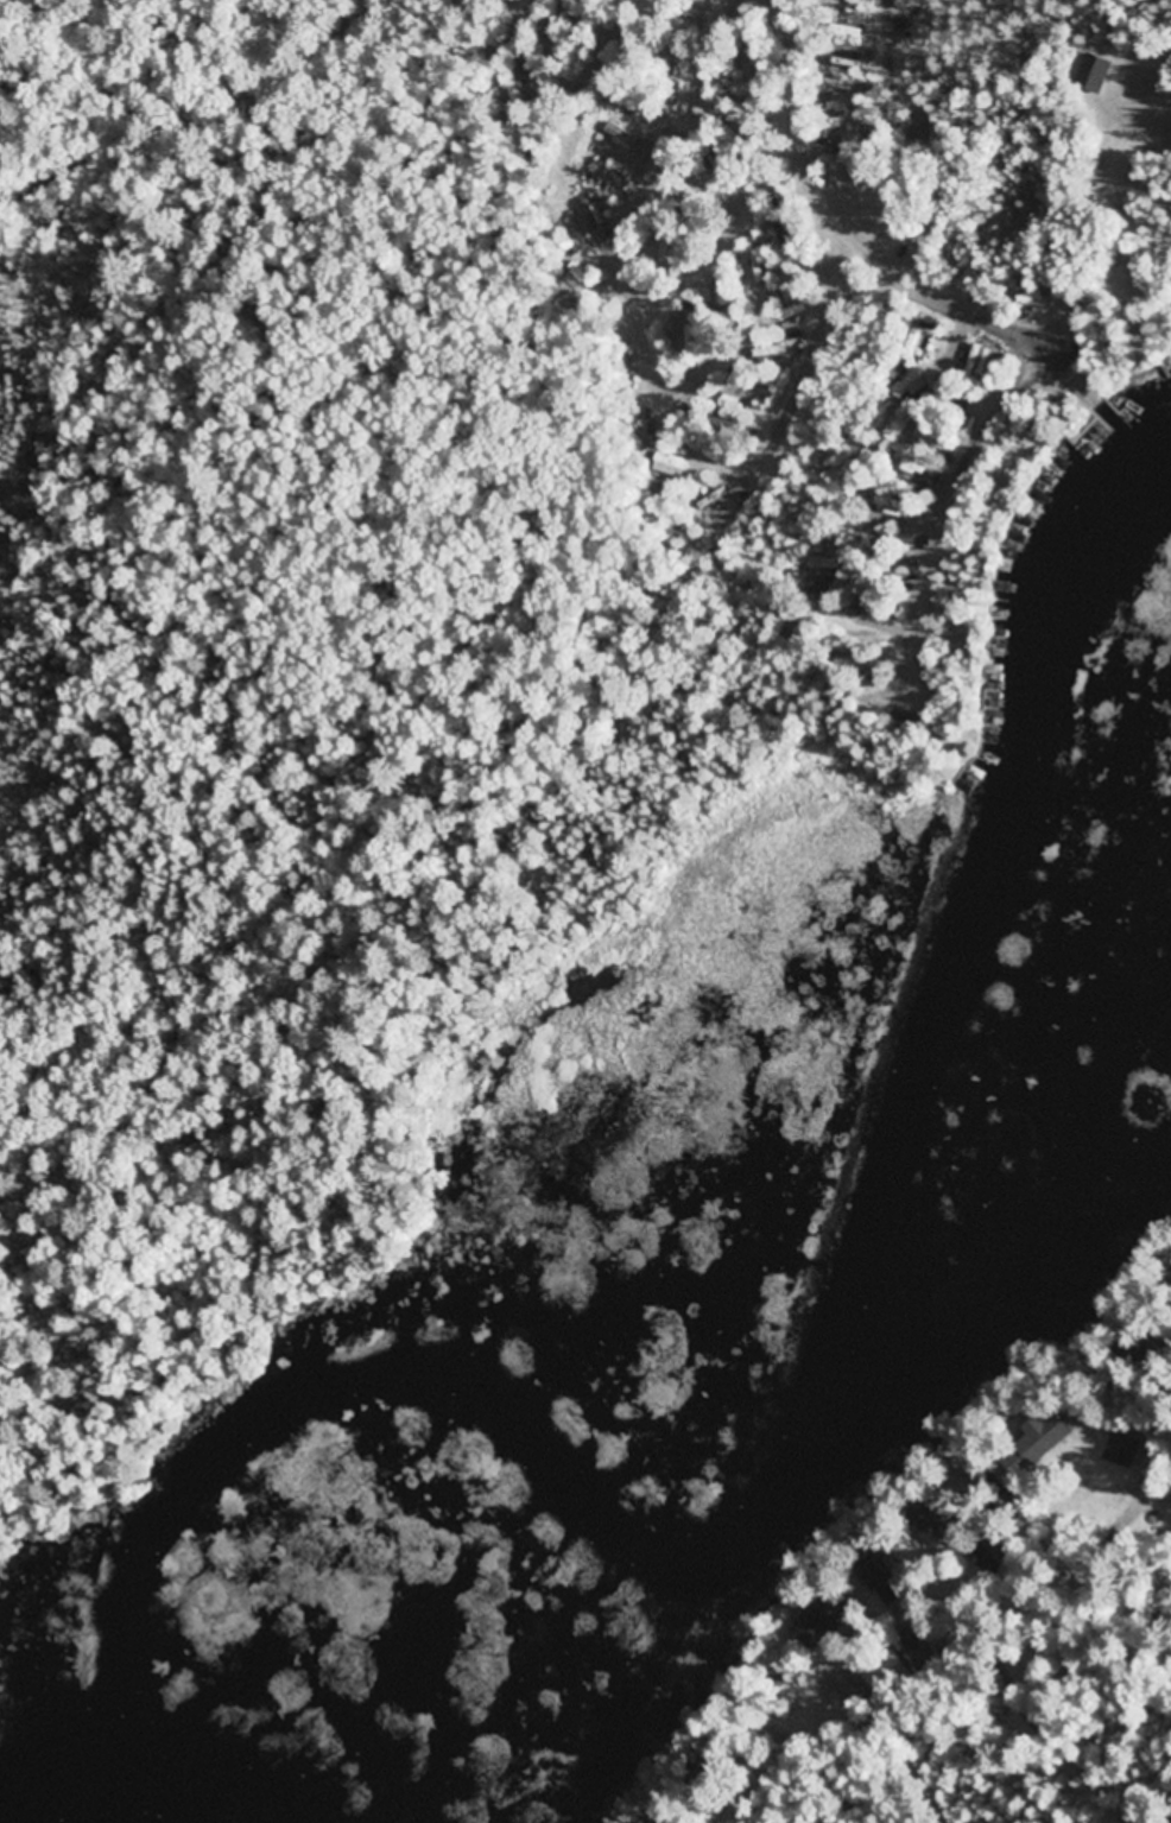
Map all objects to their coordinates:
building: (1095, 75)
road: (205, 127)
building: (589, 217)
road: (872, 251)
building: (759, 271)
building: (793, 311)
river: (666, 1310)
building: (1049, 1437)
building: (1122, 1450)
building: (825, 1625)
road: (1156, 1658)

